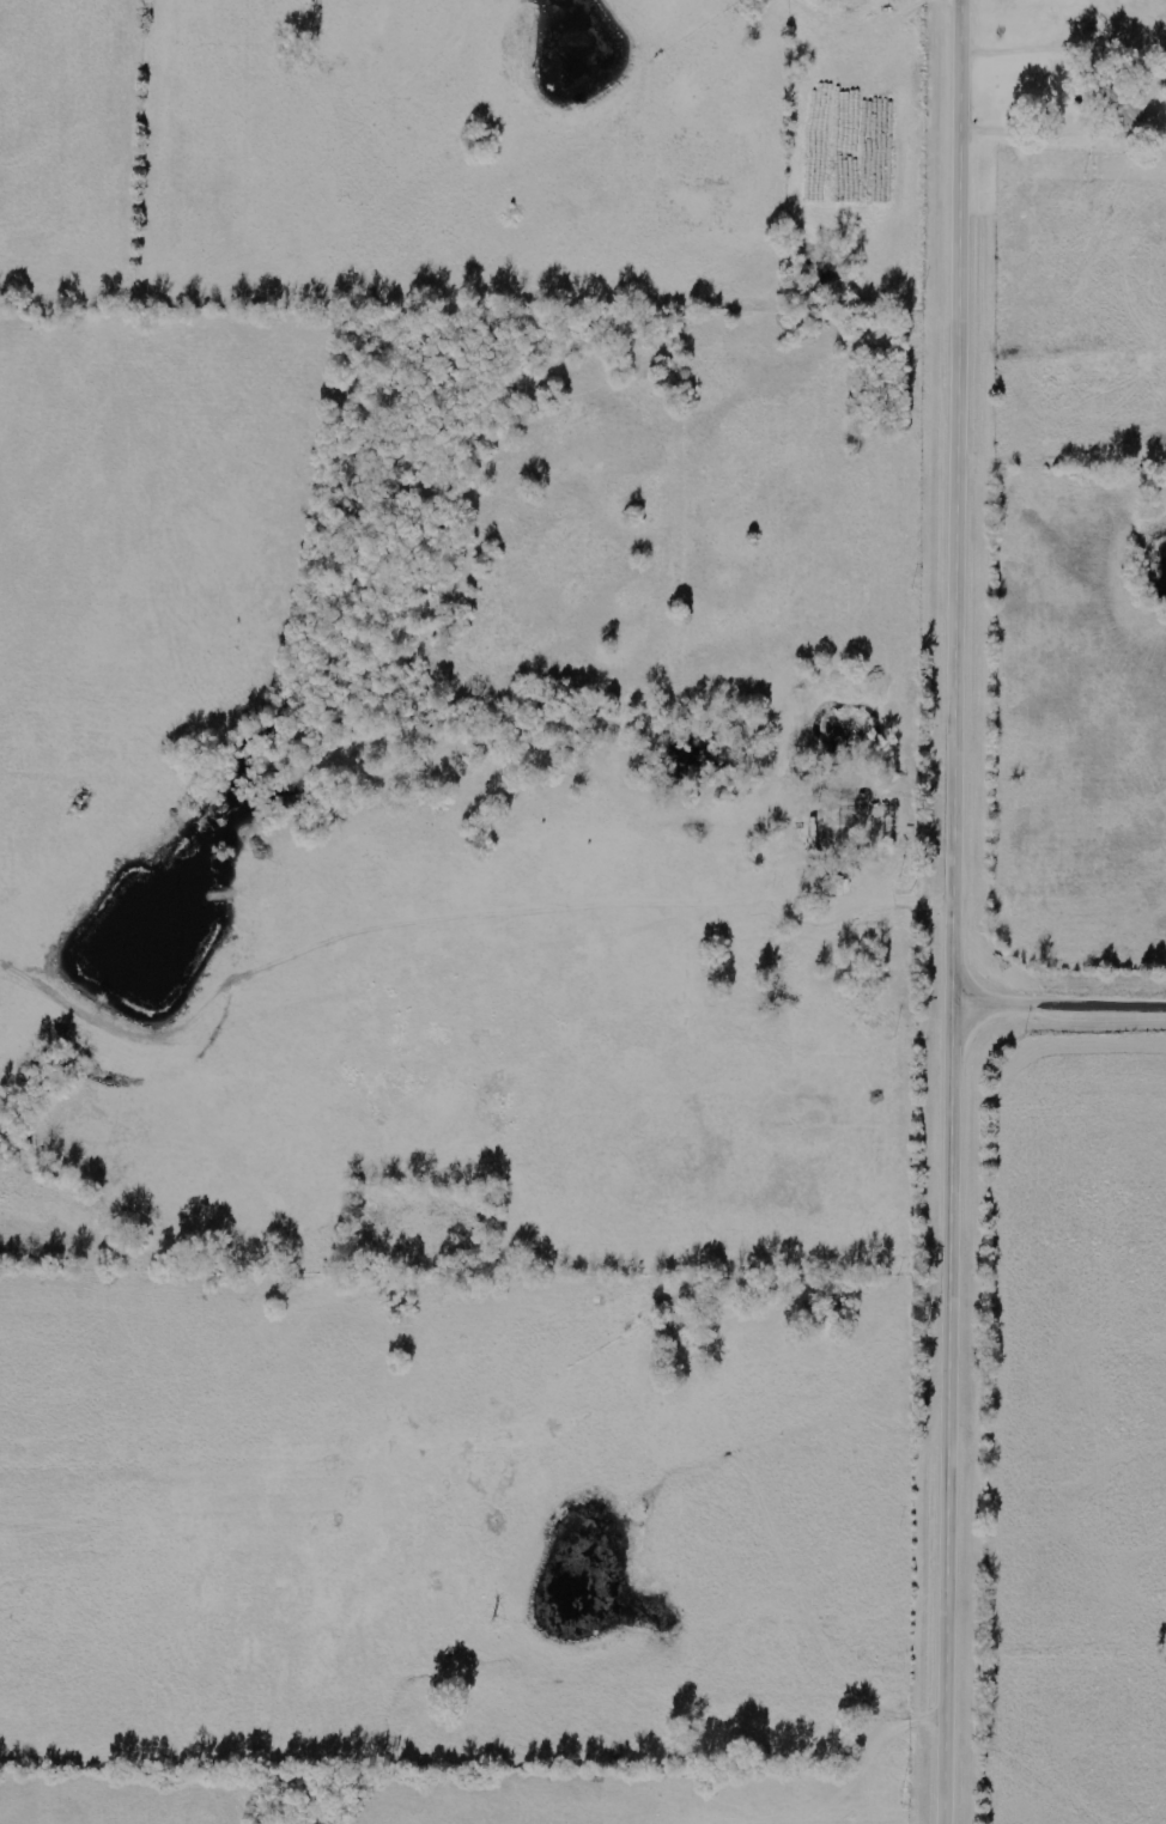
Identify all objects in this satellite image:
road: (954, 912)
road: (1059, 1007)

